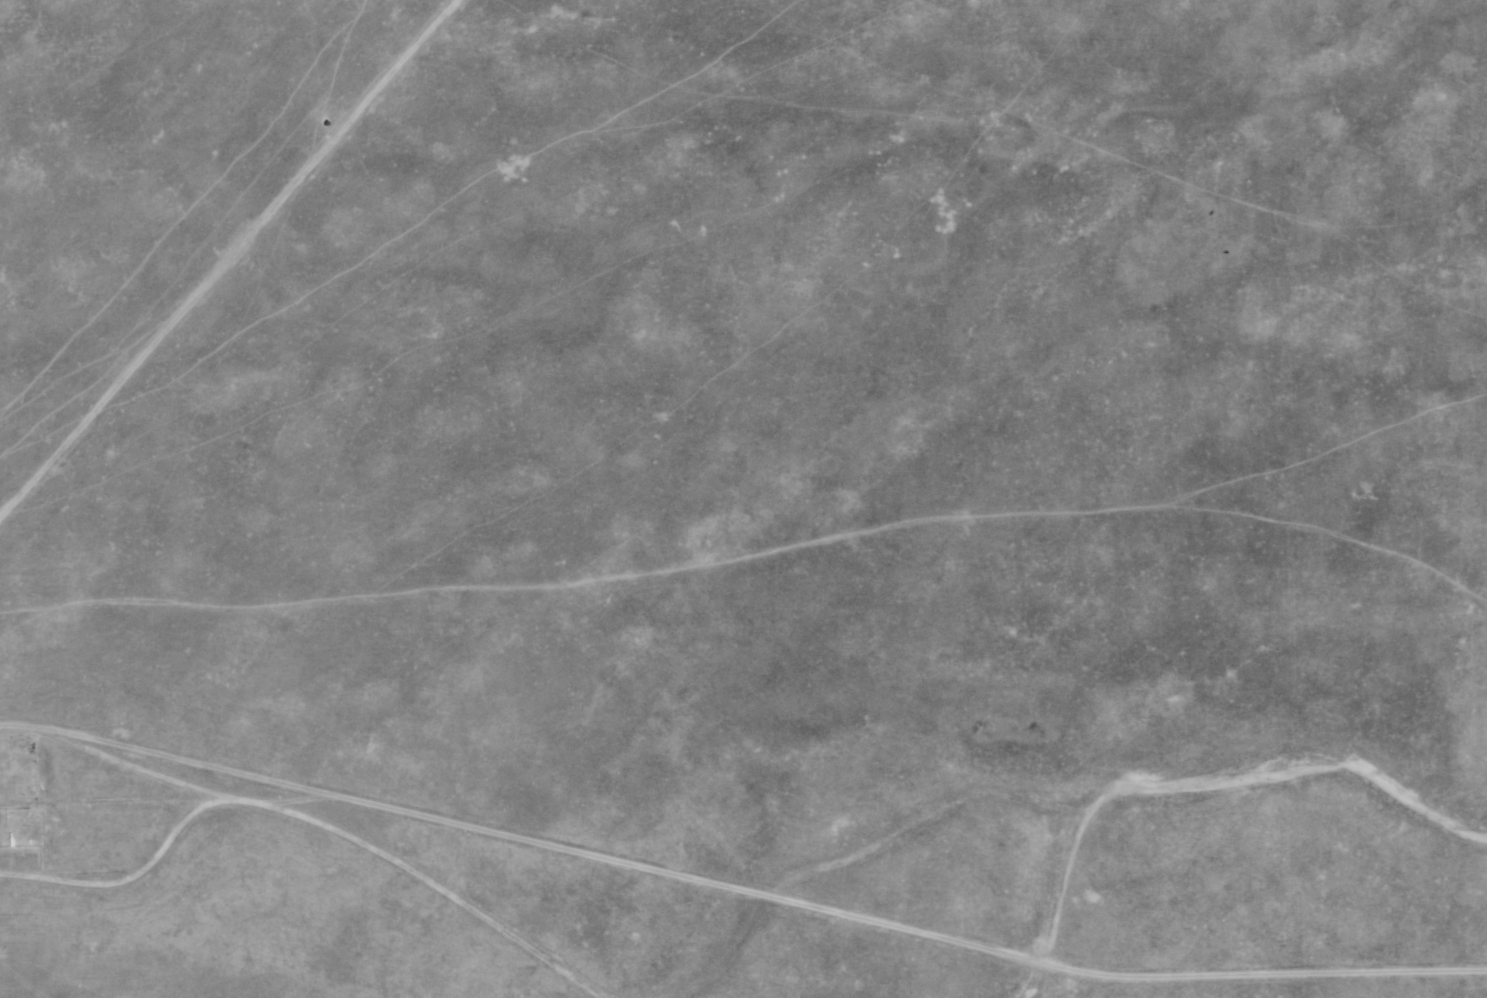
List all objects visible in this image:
road: (229, 261)
road: (314, 824)
road: (128, 879)
road: (763, 897)

